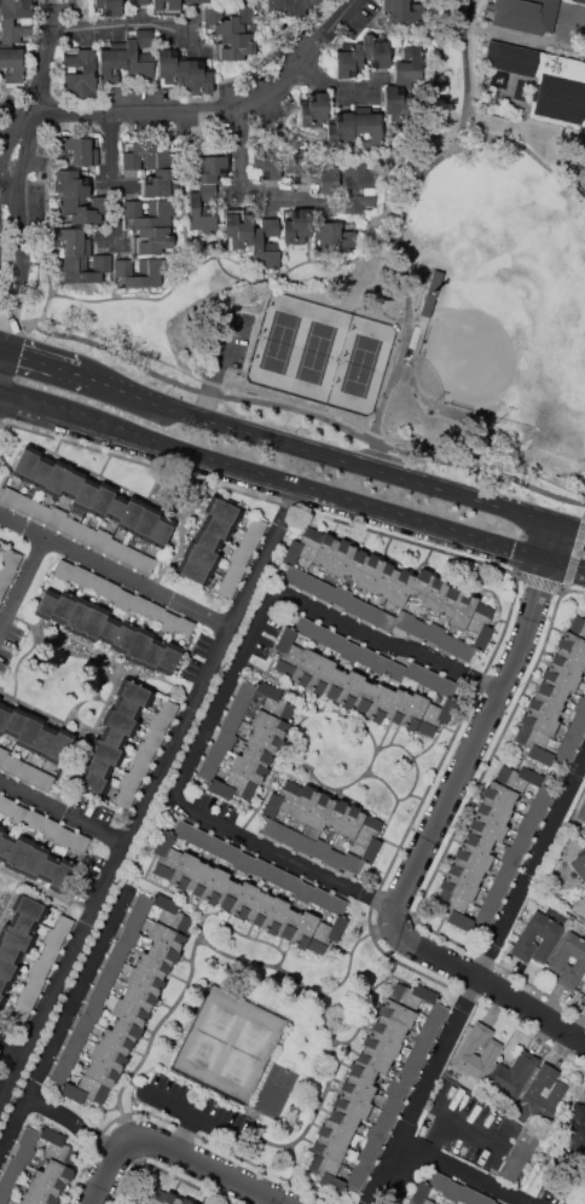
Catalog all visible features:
building: (138, 1)
building: (197, 1)
building: (579, 1)
building: (166, 6)
building: (305, 6)
building: (108, 7)
building: (279, 7)
building: (402, 12)
building: (523, 15)
building: (231, 19)
building: (16, 21)
road: (121, 23)
building: (234, 47)
building: (373, 52)
building: (140, 54)
building: (347, 61)
building: (112, 63)
building: (12, 64)
building: (170, 64)
building: (410, 64)
road: (470, 69)
building: (80, 73)
building: (198, 75)
building: (545, 81)
road: (330, 87)
building: (396, 104)
road: (220, 110)
building: (314, 110)
road: (28, 120)
building: (369, 125)
building: (341, 128)
building: (77, 150)
building: (146, 154)
building: (265, 165)
building: (301, 167)
road: (4, 168)
road: (109, 169)
building: (209, 169)
road: (241, 171)
building: (161, 182)
building: (330, 182)
building: (73, 183)
building: (357, 186)
road: (400, 201)
building: (201, 208)
building: (82, 209)
building: (147, 213)
building: (297, 225)
building: (238, 226)
building: (336, 236)
building: (151, 240)
building: (70, 241)
building: (266, 242)
building: (98, 270)
building: (137, 272)
building: (419, 290)
park: (510, 312)
park: (434, 316)
parking lot: (232, 344)
road: (39, 357)
park: (323, 357)
road: (218, 369)
road: (85, 371)
road: (292, 409)
road: (325, 453)
building: (25, 462)
building: (41, 472)
building: (57, 478)
road: (290, 483)
building: (73, 484)
building: (85, 494)
building: (10, 496)
building: (102, 500)
building: (24, 503)
building: (116, 507)
building: (40, 511)
building: (224, 511)
building: (131, 514)
building: (56, 517)
building: (146, 522)
building: (256, 525)
road: (573, 525)
building: (70, 526)
building: (216, 526)
road: (584, 526)
building: (161, 531)
building: (85, 534)
building: (100, 538)
building: (208, 541)
building: (249, 541)
building: (309, 542)
building: (115, 548)
building: (325, 549)
building: (292, 552)
building: (131, 555)
building: (201, 555)
building: (11, 557)
building: (239, 557)
building: (341, 559)
building: (145, 564)
building: (355, 564)
building: (63, 570)
road: (116, 571)
building: (193, 571)
building: (233, 571)
building: (6, 572)
building: (370, 572)
building: (79, 575)
building: (292, 575)
building: (386, 580)
building: (94, 583)
building: (309, 583)
building: (421, 583)
road: (23, 584)
building: (2, 587)
building: (227, 587)
building: (401, 588)
building: (110, 589)
building: (325, 591)
building: (434, 594)
building: (341, 595)
building: (123, 599)
building: (0, 600)
building: (448, 600)
building: (46, 604)
building: (139, 604)
building: (354, 606)
building: (63, 607)
building: (463, 610)
building: (155, 612)
building: (370, 613)
building: (77, 616)
building: (480, 616)
building: (404, 620)
building: (168, 621)
building: (386, 621)
building: (94, 623)
building: (305, 626)
building: (577, 626)
building: (184, 627)
building: (418, 628)
building: (109, 630)
building: (434, 633)
building: (322, 634)
building: (482, 636)
building: (123, 638)
building: (336, 643)
building: (447, 643)
building: (572, 644)
building: (138, 645)
road: (392, 645)
building: (463, 650)
building: (349, 651)
building: (288, 652)
building: (152, 653)
building: (365, 656)
building: (169, 658)
building: (568, 661)
building: (380, 664)
building: (305, 667)
building: (395, 670)
building: (413, 670)
building: (320, 674)
building: (561, 676)
building: (429, 679)
building: (335, 682)
building: (446, 686)
building: (349, 689)
building: (552, 690)
building: (134, 692)
building: (245, 692)
road: (226, 695)
building: (365, 696)
building: (584, 696)
building: (259, 697)
building: (274, 702)
building: (380, 703)
building: (398, 704)
building: (544, 704)
building: (580, 705)
building: (126, 707)
building: (168, 708)
building: (238, 708)
building: (413, 712)
building: (4, 715)
building: (436, 715)
road: (491, 720)
building: (15, 721)
building: (538, 721)
building: (120, 722)
building: (158, 722)
building: (230, 722)
building: (578, 722)
building: (271, 724)
building: (28, 731)
building: (112, 737)
building: (572, 737)
building: (154, 738)
building: (225, 739)
building: (263, 739)
building: (44, 741)
building: (535, 744)
building: (58, 749)
building: (105, 751)
building: (144, 753)
building: (215, 753)
building: (563, 753)
building: (256, 754)
building: (2, 755)
building: (12, 765)
building: (97, 766)
building: (139, 767)
building: (207, 768)
building: (248, 770)
building: (28, 772)
building: (519, 778)
building: (44, 780)
building: (129, 782)
building: (93, 783)
building: (232, 787)
building: (499, 794)
building: (0, 795)
building: (543, 795)
building: (124, 797)
road: (152, 799)
building: (283, 799)
building: (305, 803)
building: (6, 805)
building: (494, 810)
building: (535, 811)
building: (581, 812)
road: (65, 813)
building: (337, 813)
building: (18, 814)
building: (318, 816)
building: (34, 819)
building: (351, 823)
building: (526, 825)
building: (50, 826)
building: (487, 826)
building: (273, 828)
building: (1, 829)
building: (184, 830)
building: (289, 836)
building: (63, 837)
building: (199, 839)
building: (369, 839)
building: (479, 840)
building: (79, 842)
building: (520, 842)
building: (305, 843)
building: (5, 845)
building: (215, 846)
building: (320, 849)
building: (230, 852)
building: (18, 853)
building: (166, 856)
road: (288, 856)
building: (473, 856)
building: (510, 856)
building: (334, 858)
building: (34, 860)
building: (243, 862)
building: (351, 863)
building: (579, 864)
building: (48, 868)
building: (260, 868)
building: (184, 870)
building: (465, 871)
building: (505, 871)
building: (64, 875)
building: (274, 875)
building: (199, 878)
building: (290, 882)
building: (214, 886)
building: (458, 886)
building: (498, 887)
building: (305, 892)
building: (230, 894)
building: (319, 897)
building: (243, 900)
building: (490, 903)
building: (141, 904)
building: (336, 904)
building: (29, 908)
building: (259, 908)
building: (454, 910)
building: (170, 914)
building: (274, 915)
building: (482, 918)
building: (133, 920)
building: (22, 922)
building: (289, 923)
building: (63, 924)
building: (305, 929)
building: (129, 935)
building: (167, 935)
building: (325, 935)
building: (549, 937)
building: (16, 938)
building: (53, 938)
building: (120, 949)
building: (10, 952)
building: (163, 952)
building: (48, 954)
road: (494, 955)
building: (557, 961)
building: (112, 964)
building: (151, 964)
building: (39, 967)
building: (7, 969)
building: (105, 980)
building: (145, 980)
road: (483, 980)
building: (34, 983)
building: (2, 985)
building: (411, 995)
building: (98, 996)
building: (25, 997)
building: (139, 997)
building: (584, 998)
building: (1, 1000)
building: (92, 1012)
building: (129, 1012)
building: (396, 1012)
building: (436, 1012)
building: (19, 1014)
road: (65, 1022)
building: (82, 1026)
building: (389, 1027)
building: (127, 1029)
building: (429, 1029)
building: (115, 1041)
building: (75, 1042)
building: (381, 1043)
building: (422, 1044)
building: (479, 1050)
road: (12, 1054)
building: (108, 1056)
building: (68, 1058)
building: (373, 1059)
building: (413, 1059)
building: (361, 1071)
building: (59, 1073)
building: (102, 1073)
building: (512, 1073)
building: (406, 1075)
building: (358, 1087)
building: (395, 1088)
building: (86, 1090)
building: (541, 1094)
building: (352, 1104)
building: (392, 1105)
building: (343, 1118)
building: (384, 1119)
road: (77, 1121)
building: (578, 1125)
building: (335, 1133)
building: (375, 1133)
building: (29, 1137)
building: (57, 1146)
building: (329, 1148)
building: (371, 1150)
building: (24, 1154)
building: (519, 1156)
building: (364, 1165)
road: (210, 1166)
building: (15, 1168)
road: (112, 1168)
building: (58, 1171)
building: (325, 1171)
road: (386, 1173)
road: (467, 1173)
building: (355, 1180)
building: (438, 1180)
building: (7, 1182)
building: (46, 1183)
building: (452, 1191)
building: (421, 1194)
building: (468, 1196)
building: (4, 1197)
building: (37, 1197)
building: (150, 1197)
building: (170, 1198)
building: (483, 1199)
building: (22, 1202)
building: (185, 1202)
building: (496, 1203)

